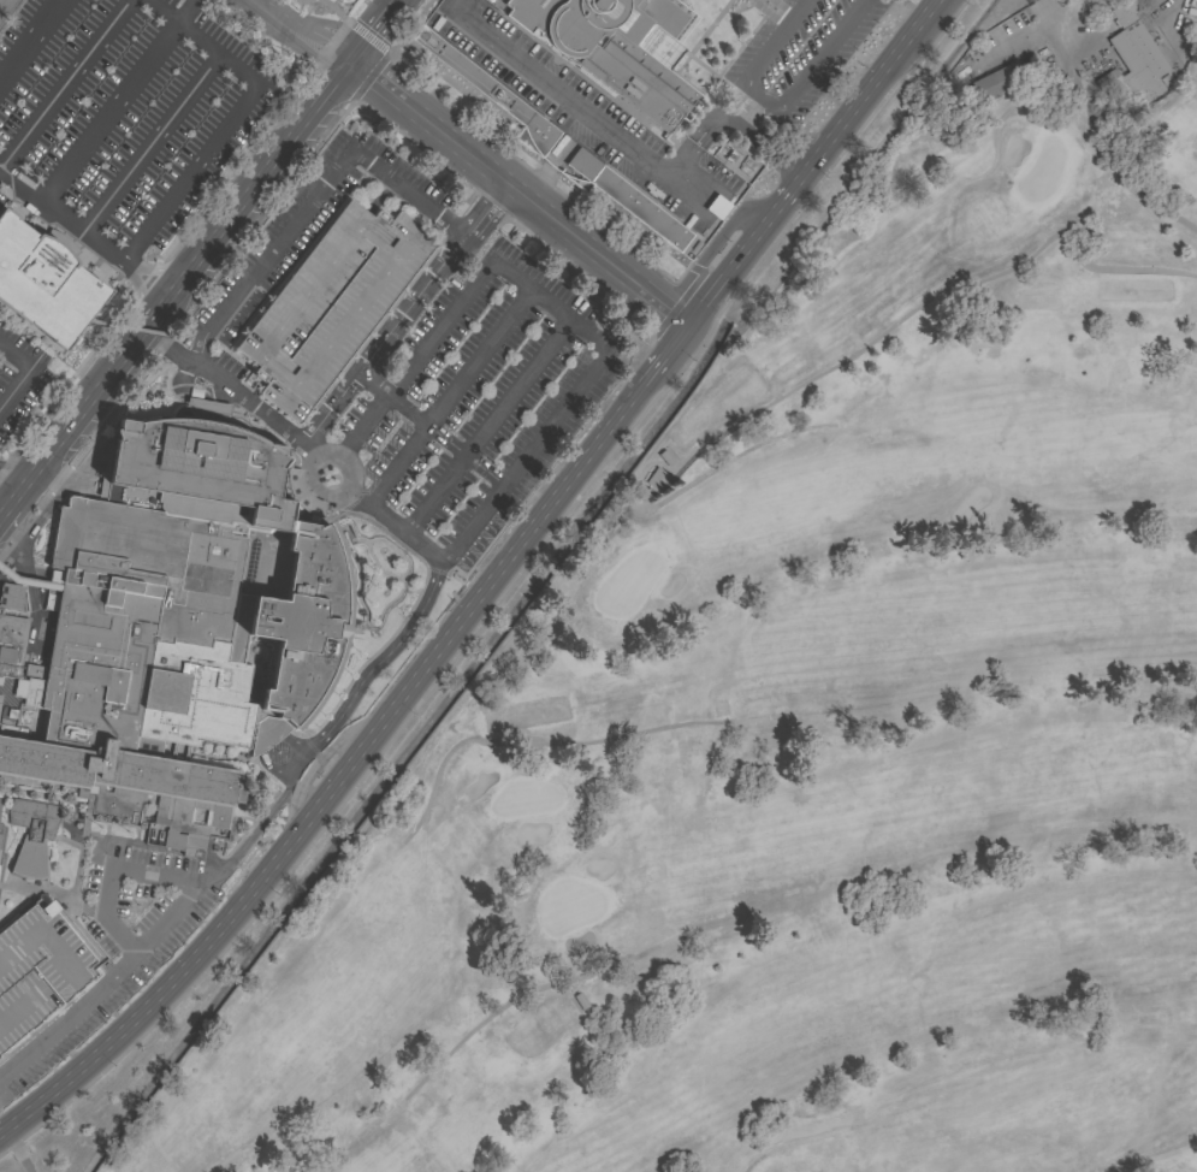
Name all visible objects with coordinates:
building: (30, 6)
road: (161, 10)
road: (1060, 13)
road: (296, 35)
road: (26, 37)
building: (612, 47)
building: (1132, 59)
building: (996, 81)
road: (65, 83)
building: (491, 93)
road: (113, 99)
road: (857, 101)
road: (774, 103)
road: (611, 128)
road: (226, 129)
parking lot: (129, 131)
road: (153, 143)
park: (1183, 144)
park: (1184, 153)
building: (736, 164)
road: (0, 167)
road: (1114, 171)
road: (515, 195)
building: (628, 200)
road: (374, 202)
road: (292, 227)
road: (84, 231)
road: (374, 241)
road: (712, 247)
road: (197, 260)
road: (733, 264)
building: (45, 283)
road: (307, 290)
building: (331, 303)
road: (551, 306)
road: (403, 316)
road: (343, 318)
road: (439, 330)
road: (170, 345)
road: (663, 355)
road: (275, 367)
road: (26, 373)
parking lot: (22, 375)
road: (813, 379)
road: (194, 391)
road: (446, 399)
road: (392, 401)
road: (362, 426)
road: (486, 428)
road: (280, 430)
road: (526, 458)
road: (31, 461)
building: (654, 477)
road: (352, 478)
road: (392, 531)
road: (511, 550)
building: (26, 580)
road: (30, 581)
building: (11, 598)
building: (176, 625)
building: (12, 644)
road: (380, 661)
road: (534, 740)
park: (792, 742)
road: (318, 760)
road: (338, 775)
building: (31, 836)
road: (112, 872)
road: (166, 923)
building: (37, 969)
road: (156, 994)
road: (512, 999)
road: (794, 1142)
road: (221, 1161)

